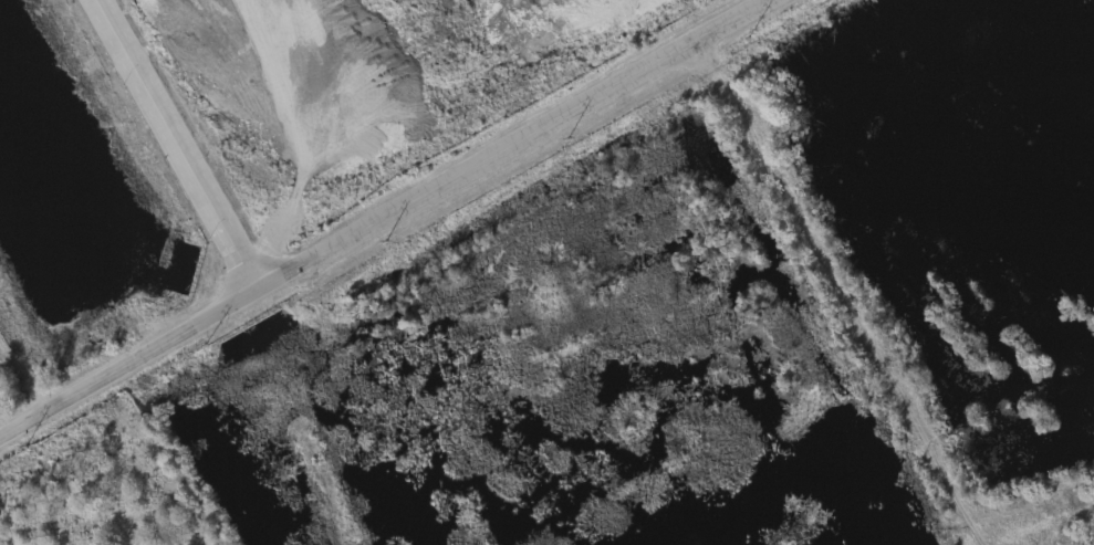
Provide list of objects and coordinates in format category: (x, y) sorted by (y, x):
road: (170, 143)
road: (508, 143)
road: (843, 291)
road: (125, 360)
road: (22, 363)

